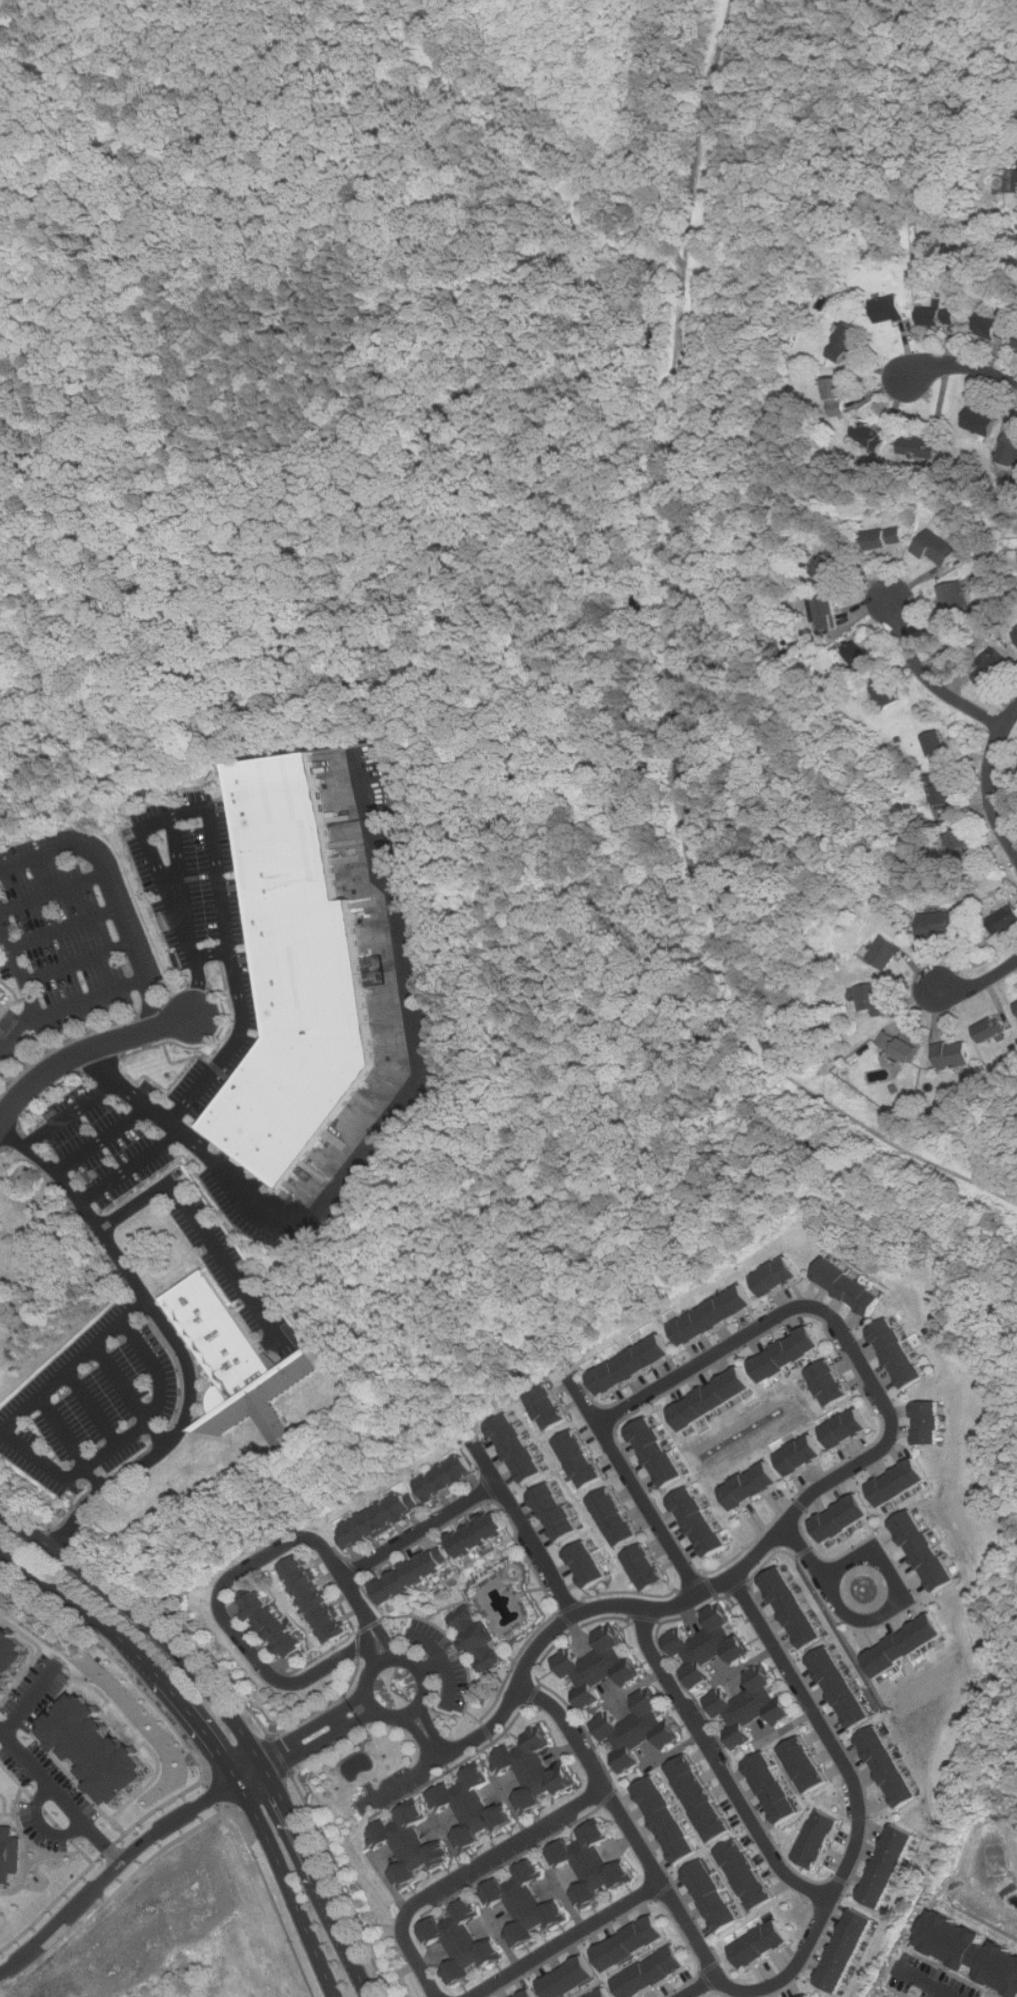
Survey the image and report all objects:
building: (890, 310)
building: (940, 317)
building: (994, 327)
building: (847, 343)
road: (962, 365)
building: (840, 395)
building: (982, 420)
building: (871, 436)
building: (1012, 438)
building: (919, 448)
building: (886, 538)
building: (937, 549)
building: (835, 561)
building: (954, 600)
building: (831, 613)
building: (1016, 632)
building: (862, 656)
building: (993, 669)
road: (928, 679)
building: (886, 693)
building: (939, 744)
road: (990, 781)
building: (947, 794)
road: (216, 843)
building: (962, 844)
road: (179, 871)
road: (52, 891)
road: (111, 891)
building: (1004, 920)
building: (939, 924)
road: (65, 927)
road: (213, 951)
building: (886, 952)
road: (77, 961)
road: (18, 965)
building: (295, 975)
road: (978, 985)
building: (3, 994)
building: (872, 998)
road: (66, 1005)
building: (991, 1029)
building: (900, 1046)
road: (81, 1050)
building: (954, 1054)
road: (69, 1114)
road: (379, 1128)
road: (101, 1138)
road: (129, 1165)
road: (204, 1229)
building: (777, 1277)
building: (848, 1287)
building: (712, 1315)
road: (174, 1337)
road: (848, 1340)
building: (896, 1353)
building: (786, 1354)
building: (235, 1363)
building: (631, 1365)
building: (829, 1383)
road: (129, 1395)
building: (712, 1398)
building: (547, 1406)
road: (88, 1410)
building: (928, 1422)
building: (847, 1428)
road: (71, 1443)
building: (517, 1448)
building: (658, 1452)
building: (802, 1454)
building: (579, 1458)
road: (43, 1462)
building: (449, 1478)
building: (901, 1482)
building: (751, 1485)
road: (634, 1487)
building: (554, 1512)
building: (614, 1517)
building: (843, 1518)
building: (380, 1521)
building: (700, 1522)
road: (525, 1529)
road: (420, 1531)
building: (480, 1534)
building: (925, 1550)
building: (586, 1564)
building: (644, 1567)
building: (413, 1575)
building: (316, 1599)
building: (793, 1607)
road: (878, 1613)
building: (276, 1627)
road: (378, 1634)
building: (477, 1639)
road: (242, 1644)
building: (708, 1645)
building: (905, 1645)
road: (532, 1650)
road: (369, 1655)
building: (11, 1656)
road: (442, 1663)
road: (430, 1667)
building: (598, 1667)
road: (419, 1670)
building: (841, 1687)
road: (358, 1699)
road: (30, 1701)
building: (751, 1706)
road: (233, 1716)
road: (369, 1716)
road: (340, 1721)
building: (637, 1730)
road: (432, 1732)
road: (212, 1738)
road: (421, 1739)
road: (286, 1744)
building: (96, 1749)
road: (334, 1751)
road: (294, 1758)
building: (805, 1764)
road: (201, 1765)
road: (717, 1765)
building: (890, 1767)
building: (534, 1769)
building: (772, 1788)
road: (212, 1795)
road: (60, 1797)
building: (698, 1798)
building: (472, 1807)
road: (861, 1807)
road: (45, 1812)
building: (664, 1819)
road: (624, 1823)
road: (43, 1825)
road: (187, 1831)
road: (29, 1839)
building: (818, 1839)
building: (410, 1844)
building: (10, 1855)
road: (26, 1856)
road: (38, 1858)
building: (591, 1864)
building: (889, 1865)
road: (26, 1874)
road: (107, 1874)
road: (463, 1874)
building: (745, 1874)
road: (389, 1884)
building: (710, 1896)
building: (526, 1903)
road: (565, 1940)
building: (461, 1941)
building: (630, 1942)
building: (759, 1944)
building: (844, 1950)
building: (969, 1950)
building: (651, 1972)
building: (569, 1977)
road: (924, 1983)
road: (698, 1989)
road: (1, 1993)
building: (528, 1993)
building: (602, 1993)
building: (807, 1996)
building: (886, 1996)

